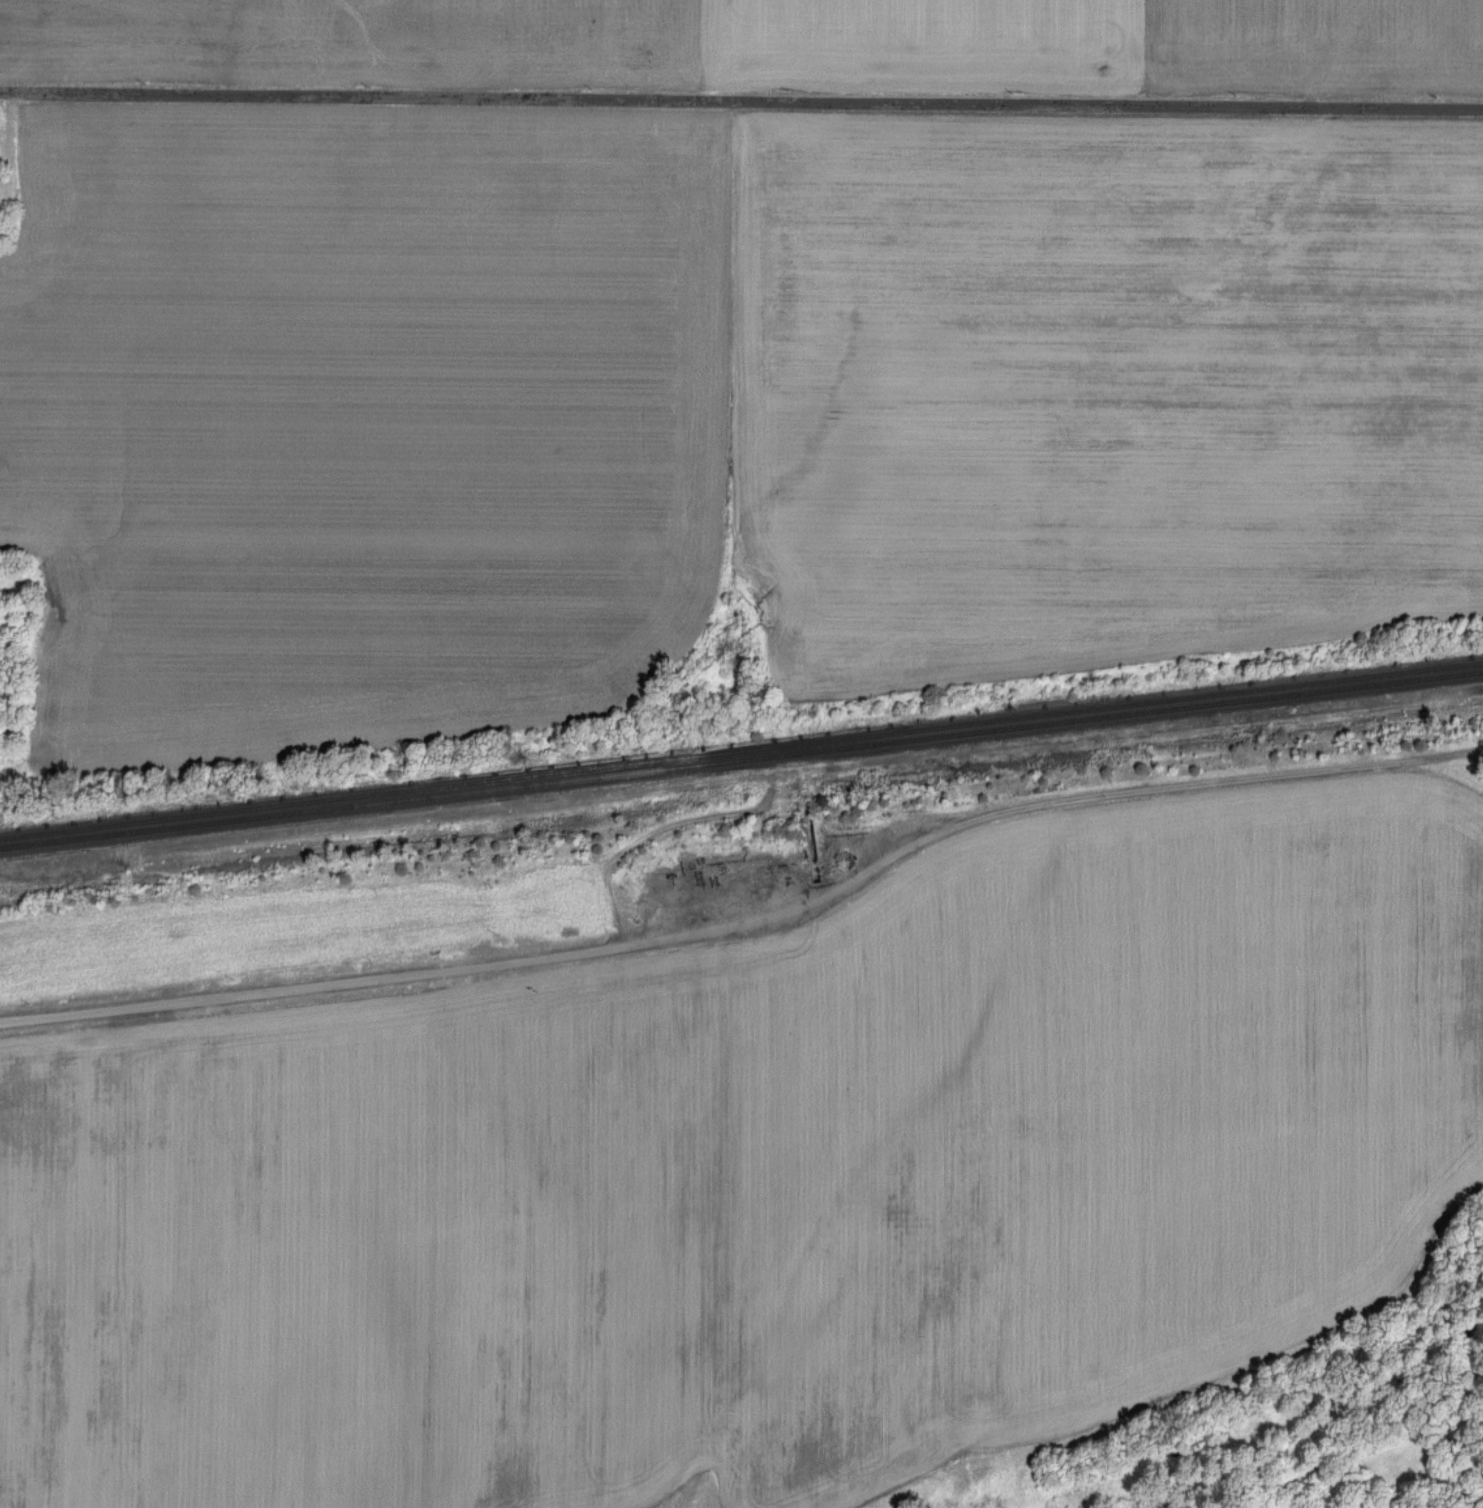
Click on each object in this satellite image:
road: (741, 99)
crop: (363, 427)
railway: (741, 749)
railway: (741, 759)
road: (301, 986)

